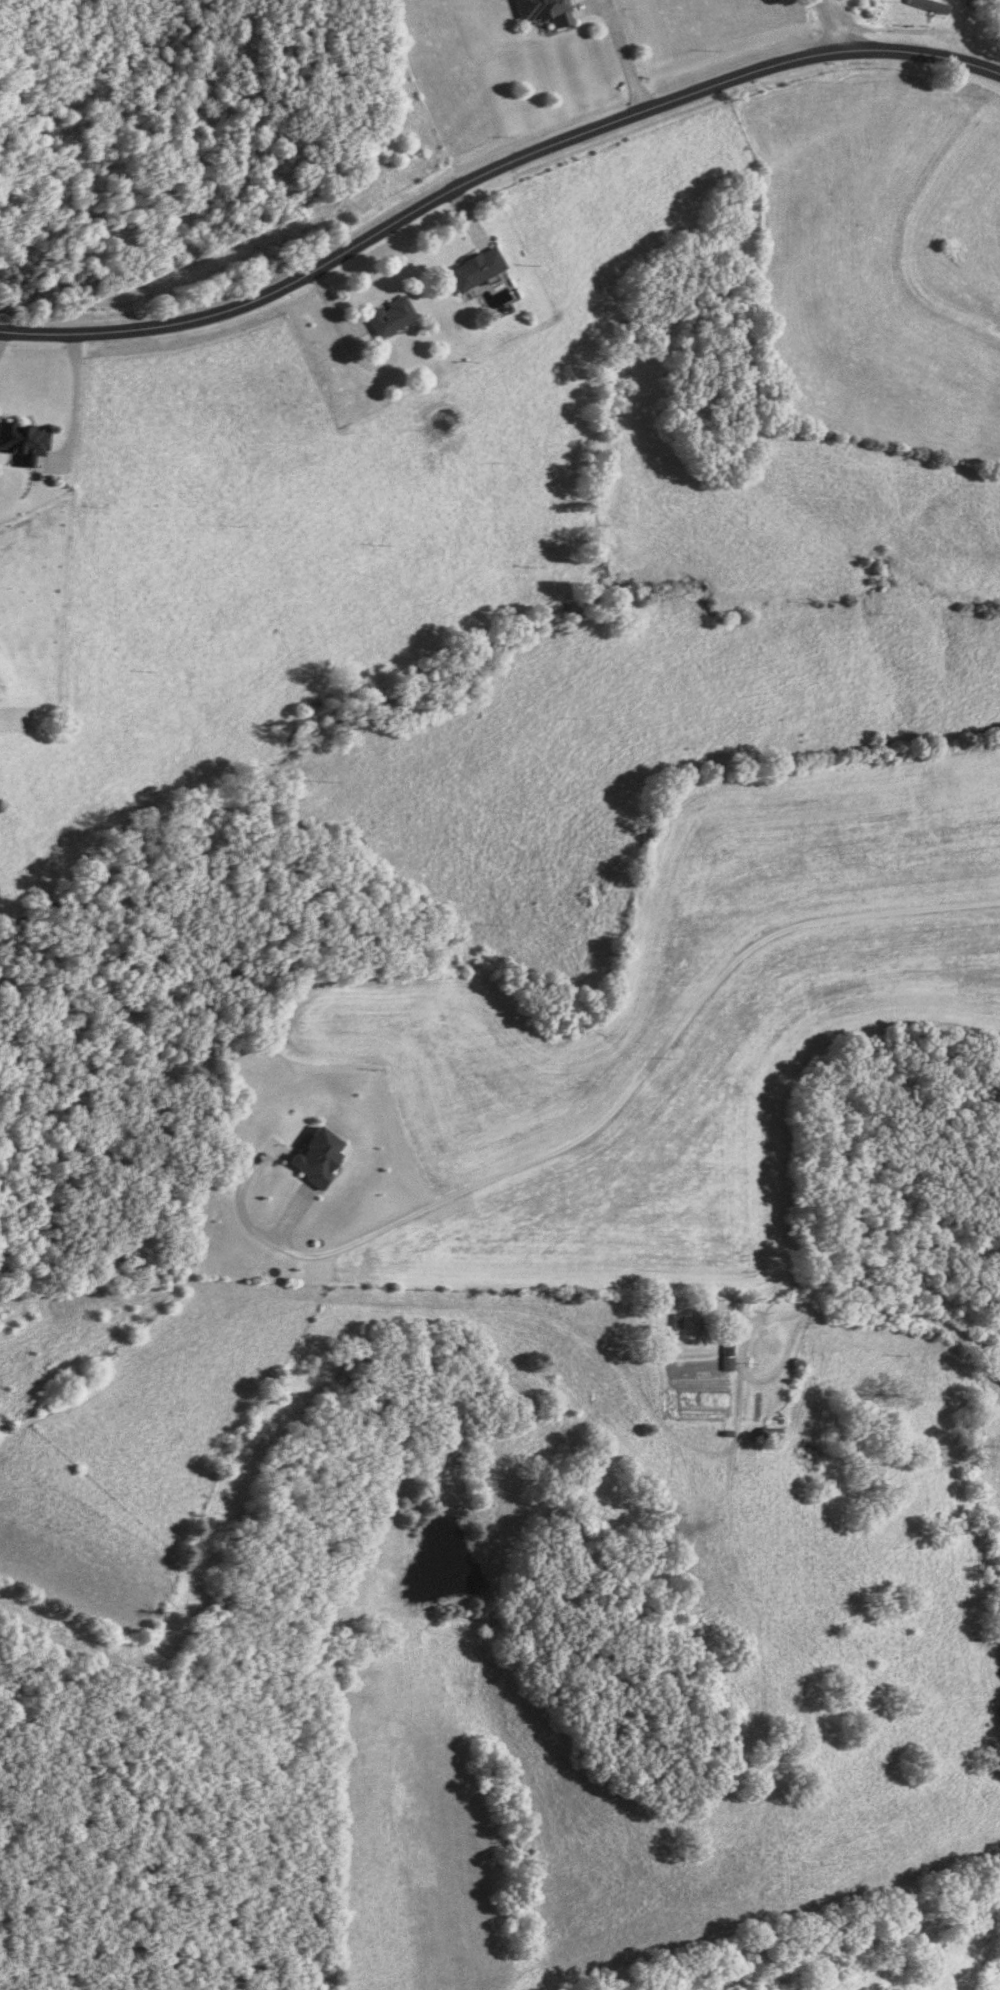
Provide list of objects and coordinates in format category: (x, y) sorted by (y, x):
building: (927, 5)
building: (540, 11)
road: (831, 25)
building: (973, 45)
road: (620, 56)
road: (921, 58)
road: (422, 206)
building: (471, 269)
building: (387, 317)
building: (20, 440)
road: (644, 1072)
road: (883, 1311)
building: (683, 1327)
building: (725, 1356)
building: (766, 1435)
building: (806, 1456)

